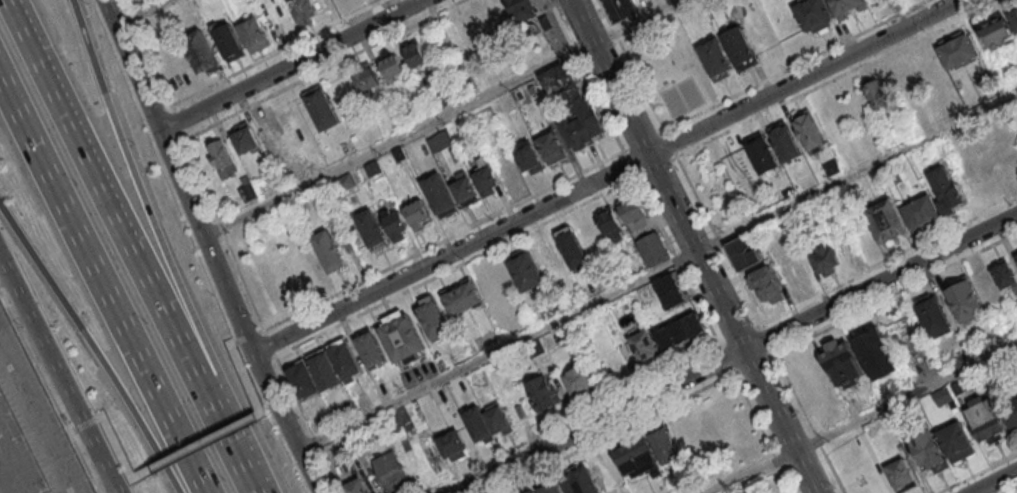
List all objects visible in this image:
building: (847, 6)
building: (522, 8)
building: (1016, 8)
building: (621, 9)
road: (141, 13)
building: (815, 13)
building: (304, 14)
building: (1014, 16)
road: (632, 20)
building: (467, 28)
building: (530, 29)
building: (999, 31)
building: (254, 39)
parking lot: (555, 39)
building: (229, 43)
building: (740, 46)
building: (959, 49)
road: (148, 53)
road: (276, 53)
building: (201, 56)
building: (416, 56)
building: (716, 57)
road: (130, 64)
road: (795, 64)
road: (290, 65)
road: (631, 65)
road: (322, 69)
park: (669, 69)
building: (394, 70)
road: (585, 75)
building: (368, 78)
road: (830, 79)
building: (875, 93)
building: (447, 97)
building: (575, 106)
building: (323, 107)
building: (425, 108)
road: (178, 122)
building: (809, 127)
building: (245, 138)
road: (397, 139)
road: (644, 141)
building: (787, 141)
building: (441, 142)
road: (670, 143)
building: (551, 146)
building: (399, 153)
building: (762, 153)
building: (529, 156)
building: (222, 157)
road: (630, 163)
road: (654, 166)
building: (374, 168)
building: (832, 168)
road: (856, 172)
building: (487, 175)
road: (608, 175)
building: (346, 182)
park: (718, 186)
building: (466, 188)
building: (948, 191)
road: (140, 192)
road: (103, 193)
building: (248, 193)
building: (441, 193)
building: (633, 207)
building: (418, 212)
building: (922, 212)
building: (886, 220)
building: (396, 222)
road: (541, 224)
building: (611, 225)
building: (373, 228)
building: (642, 228)
road: (223, 233)
road: (719, 239)
building: (572, 246)
road: (693, 246)
road: (426, 248)
building: (329, 249)
building: (655, 249)
building: (744, 254)
building: (1016, 256)
building: (825, 257)
building: (553, 258)
road: (889, 260)
road: (2, 267)
road: (45, 270)
building: (526, 270)
building: (1005, 275)
building: (767, 285)
road: (99, 287)
road: (894, 291)
building: (672, 292)
building: (464, 299)
building: (965, 300)
road: (235, 313)
building: (934, 316)
building: (435, 319)
building: (681, 331)
road: (740, 334)
building: (404, 338)
road: (765, 338)
road: (269, 342)
building: (646, 347)
building: (536, 348)
building: (372, 349)
road: (498, 351)
road: (736, 354)
building: (877, 354)
road: (726, 358)
building: (345, 360)
road: (753, 361)
building: (843, 363)
building: (325, 369)
parking lot: (419, 373)
road: (58, 375)
building: (305, 380)
building: (582, 381)
building: (958, 389)
building: (543, 392)
road: (50, 393)
building: (944, 396)
road: (906, 397)
building: (1012, 412)
road: (136, 416)
building: (987, 418)
road: (571, 419)
road: (39, 420)
building: (501, 421)
road: (85, 422)
road: (807, 422)
road: (308, 424)
building: (480, 424)
road: (613, 432)
road: (764, 432)
parking lot: (29, 433)
road: (227, 440)
building: (958, 442)
building: (348, 443)
road: (197, 444)
building: (455, 444)
building: (665, 446)
building: (928, 450)
building: (638, 460)
building: (394, 471)
road: (753, 472)
road: (977, 473)
building: (902, 474)
building: (580, 480)
road: (994, 481)
building: (357, 486)
building: (551, 487)
road: (1009, 489)
building: (530, 492)
building: (535, 492)

